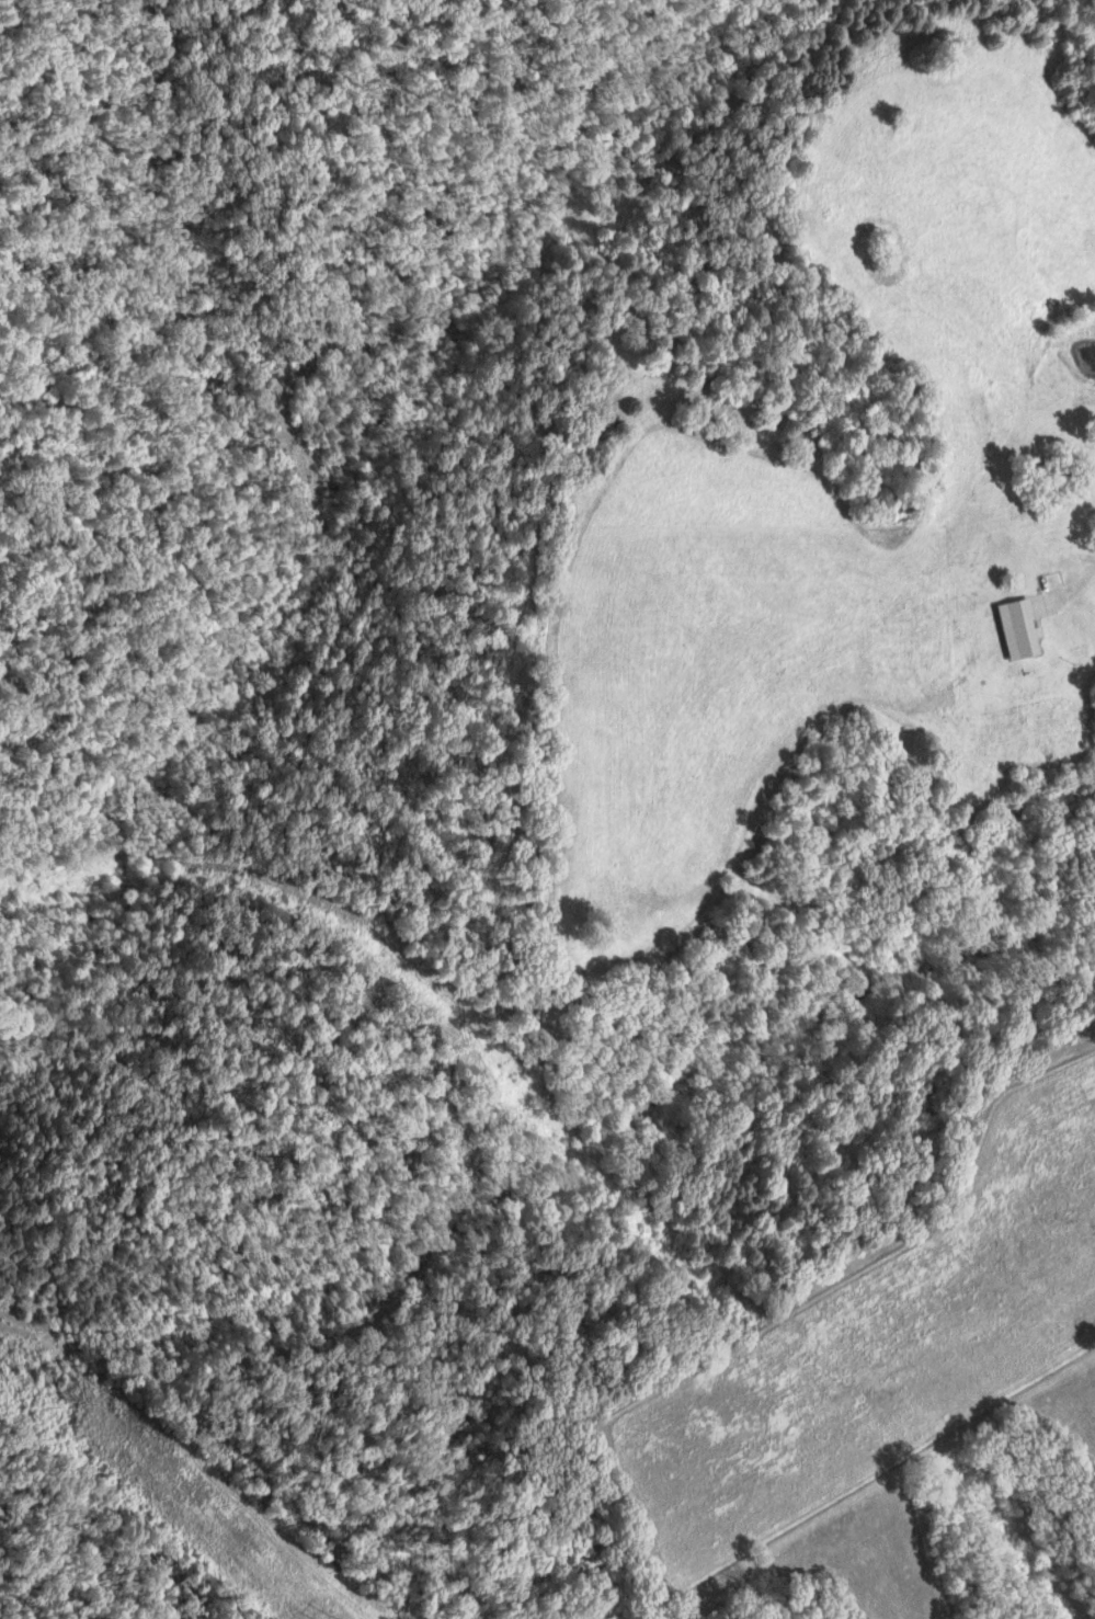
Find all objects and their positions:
road: (1050, 541)
building: (1020, 628)

